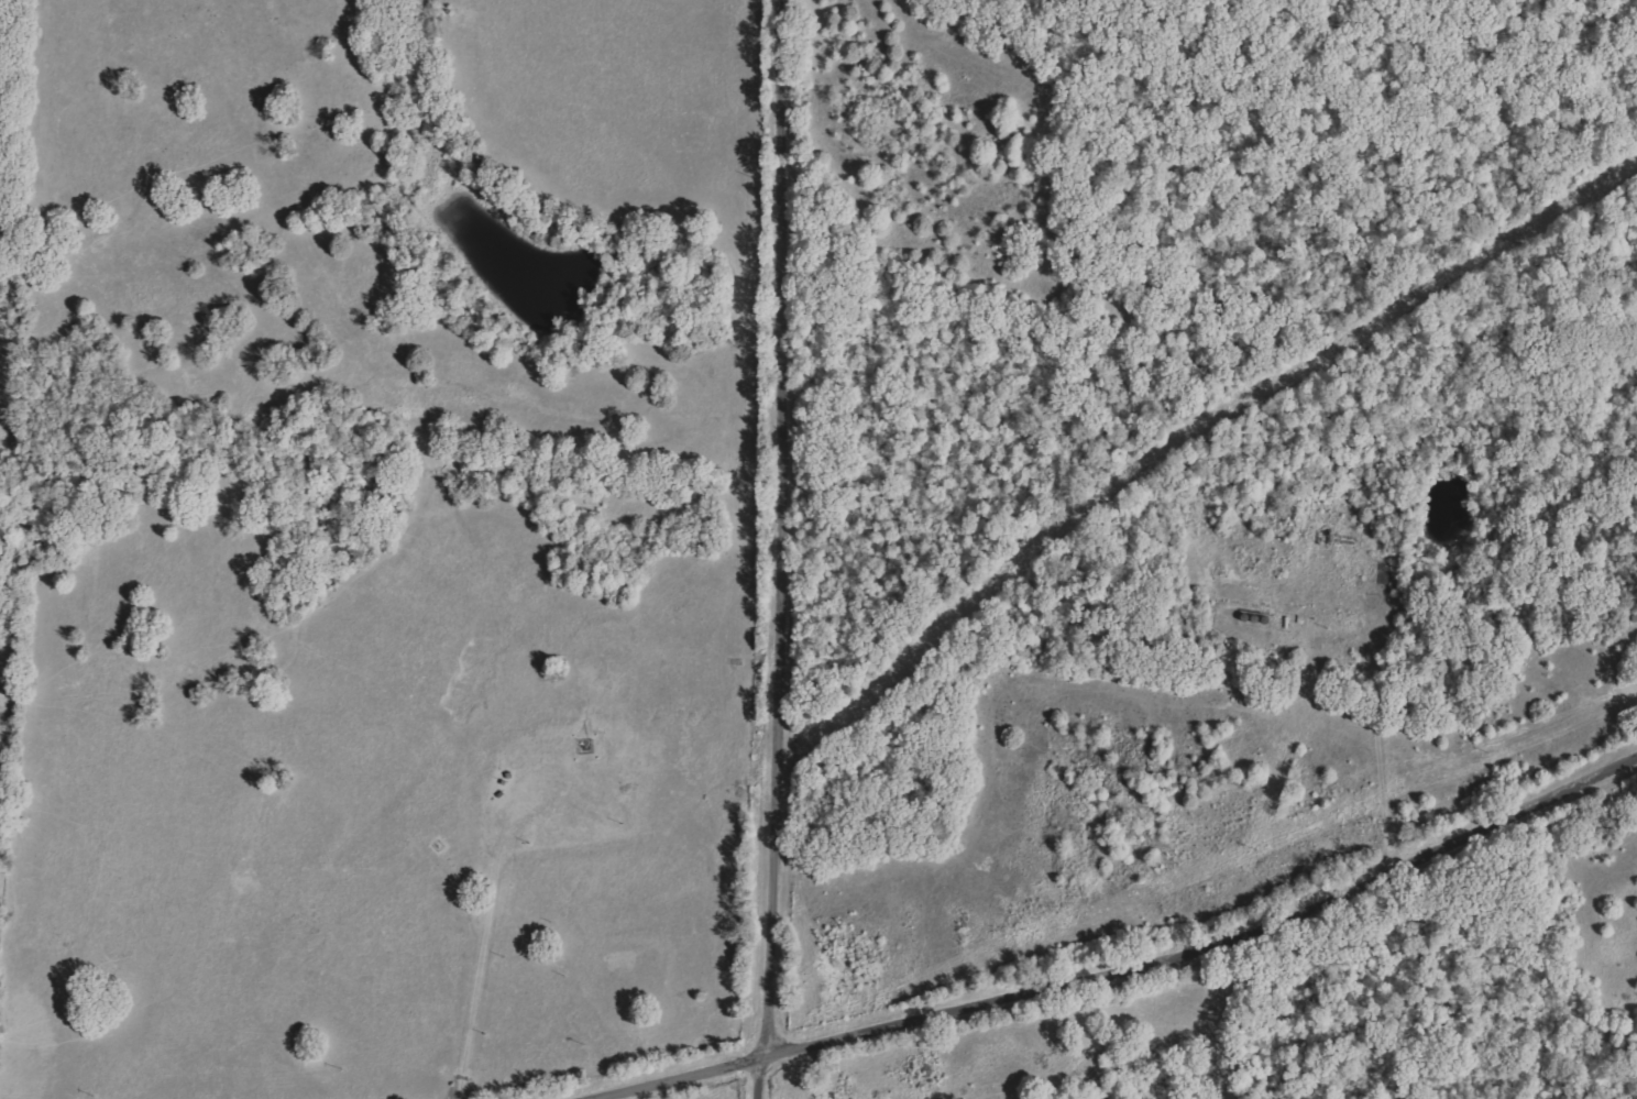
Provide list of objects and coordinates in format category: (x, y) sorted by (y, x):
road: (773, 463)
power tower: (1486, 752)
power tower: (1254, 849)
power tower: (1036, 935)
road: (1216, 941)
road: (477, 952)
road: (772, 1013)
power tower: (835, 1016)
power tower: (586, 1044)
power tower: (344, 1068)
road: (678, 1076)
power tower: (87, 1097)

